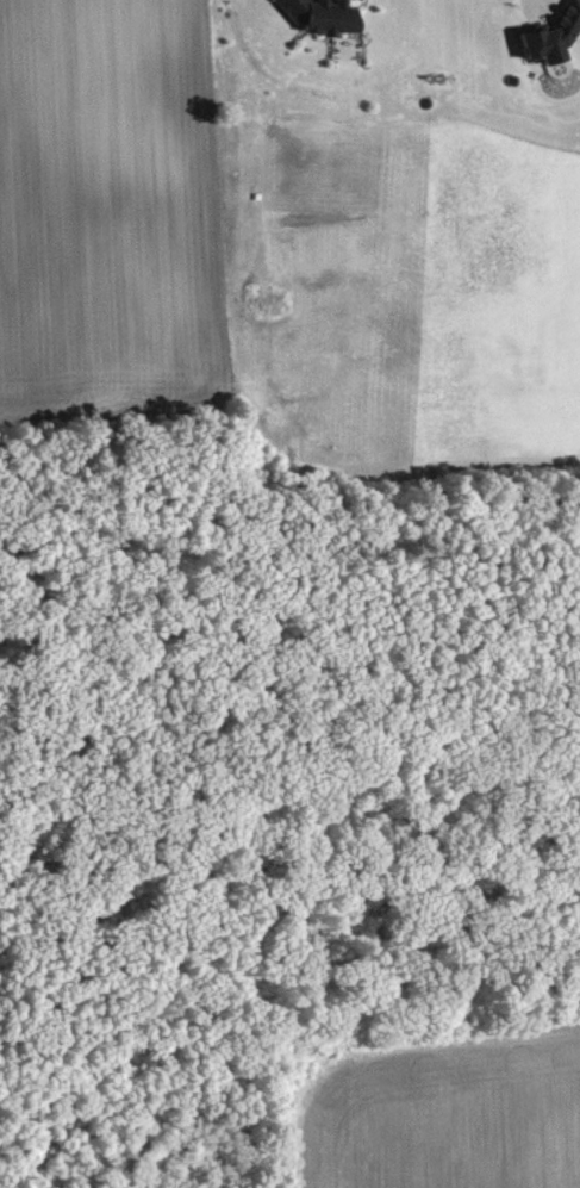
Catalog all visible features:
building: (325, 15)
building: (555, 36)

